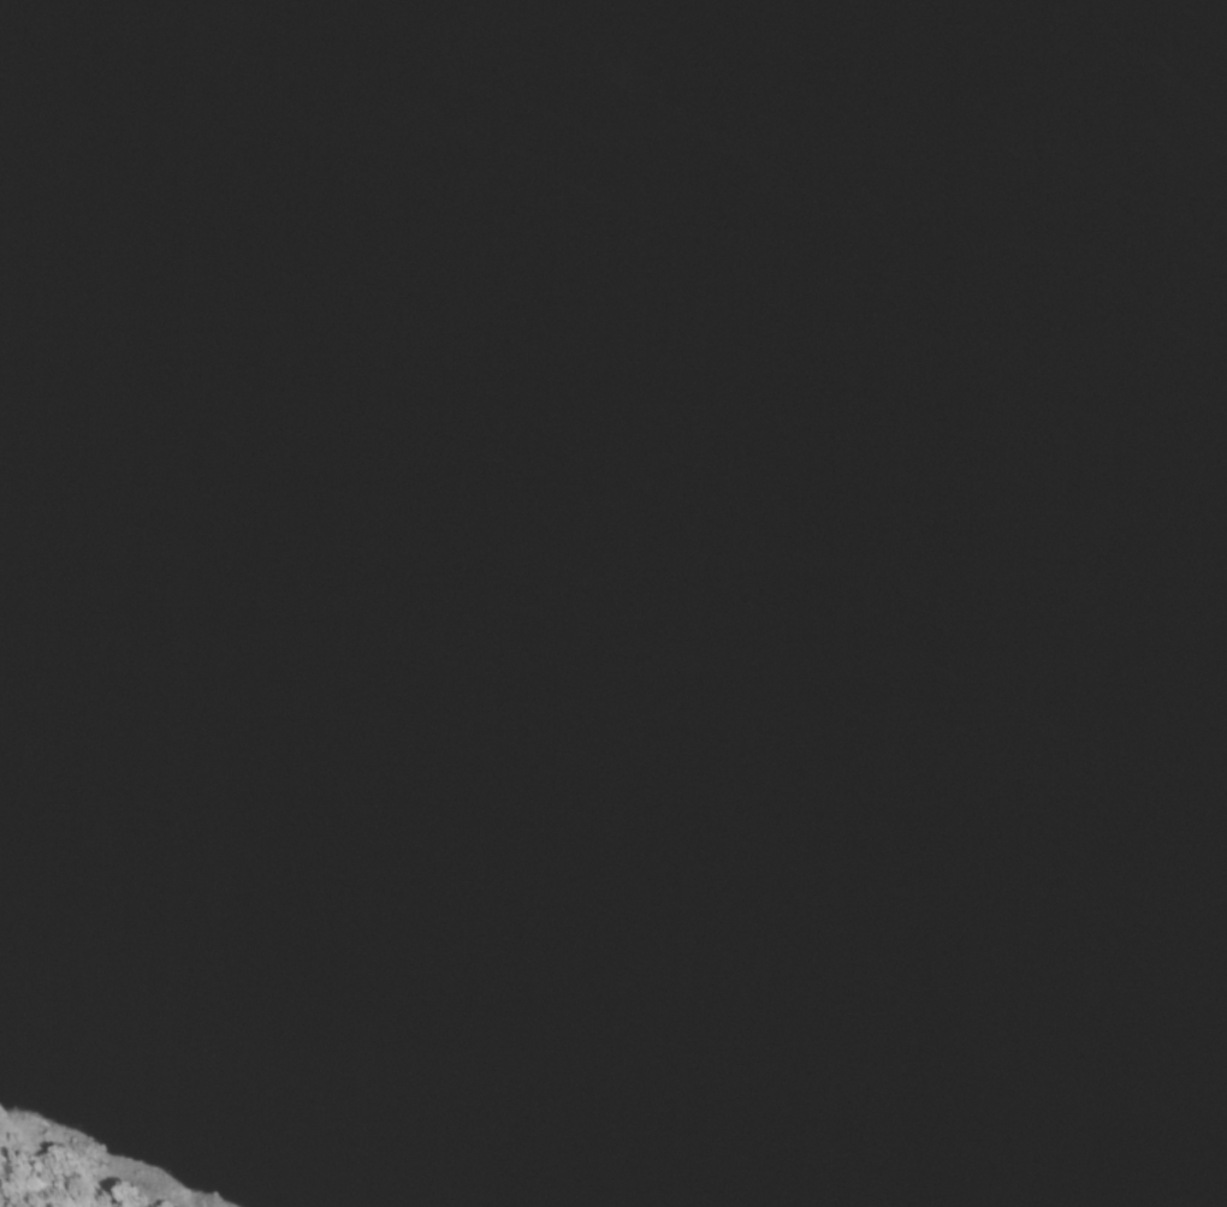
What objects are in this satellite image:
river: (588, 628)

